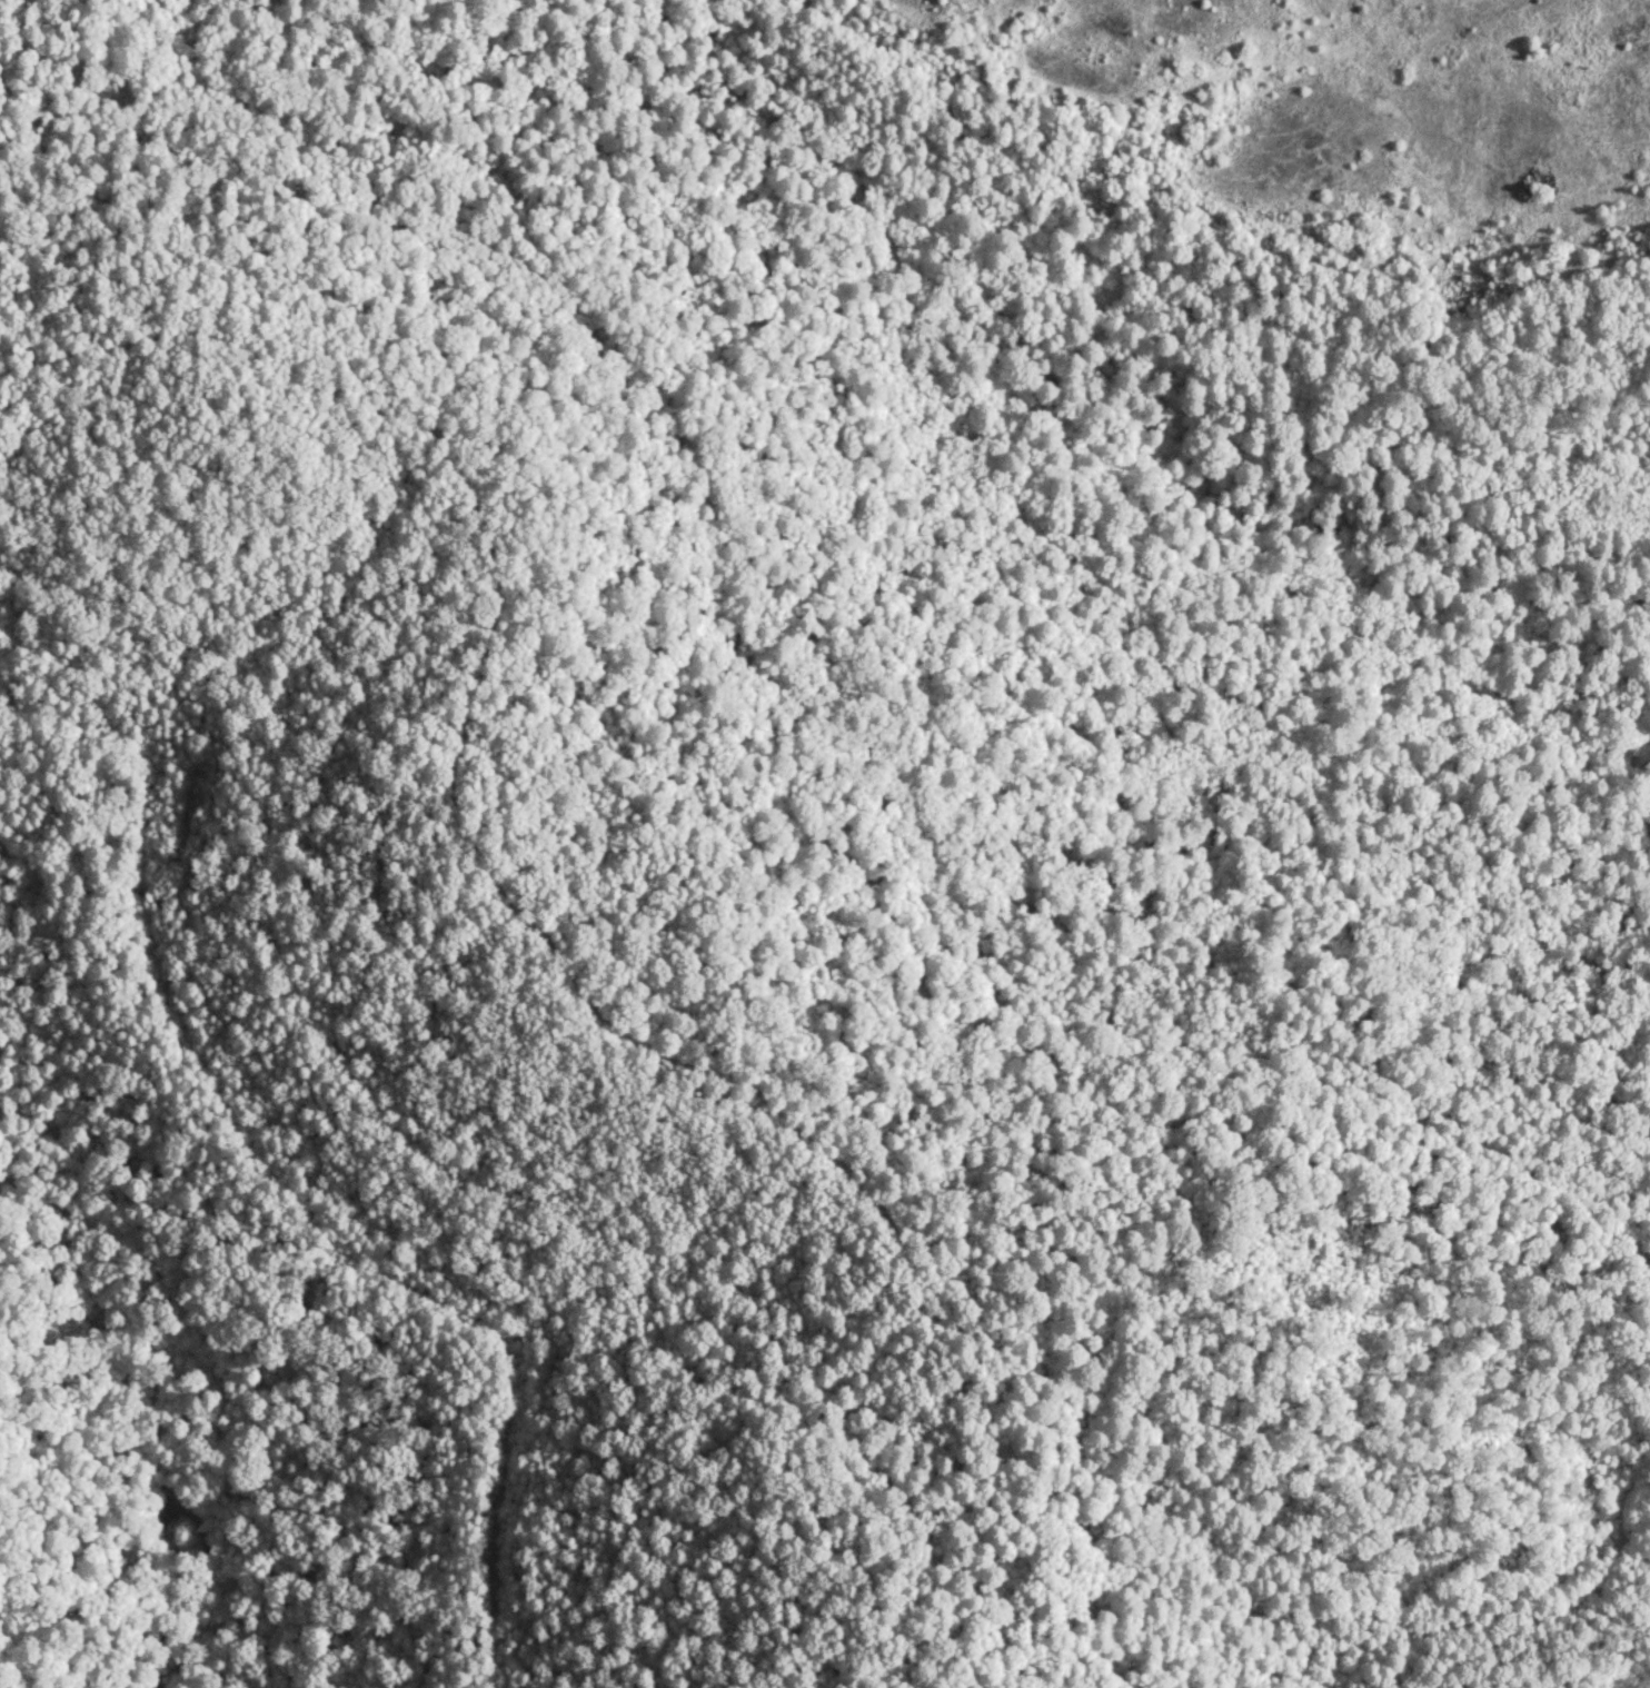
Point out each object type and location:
quarry: (1348, 110)

